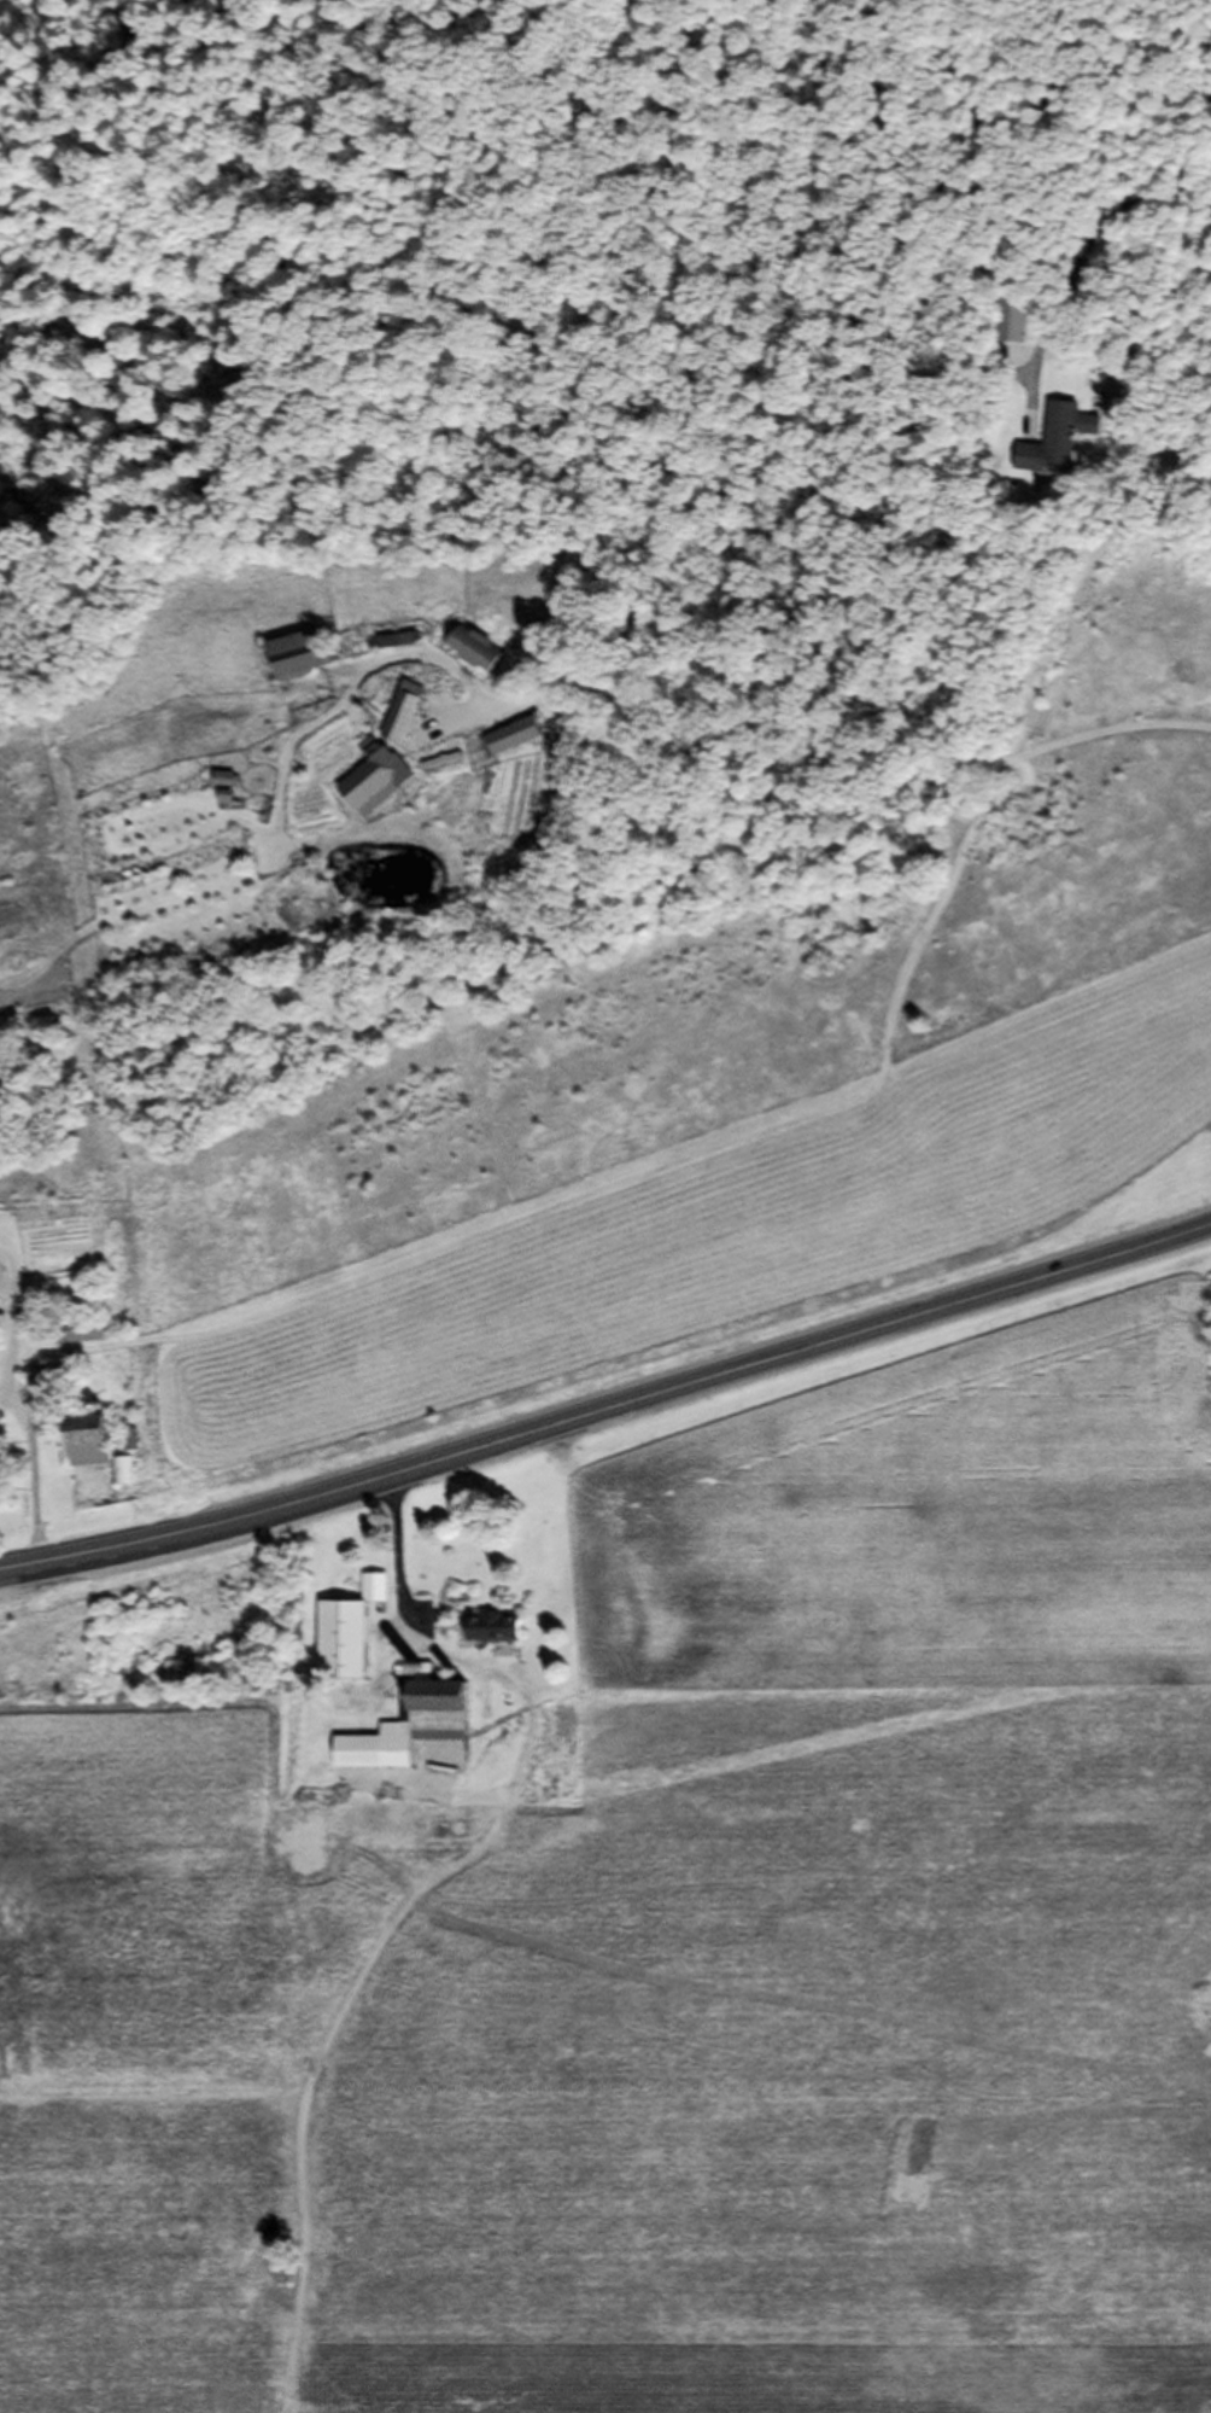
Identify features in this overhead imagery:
building: (1058, 441)
building: (298, 663)
building: (474, 663)
building: (402, 724)
road: (815, 732)
building: (510, 744)
building: (375, 788)
building: (69, 1339)
building: (47, 1383)
road: (608, 1409)
road: (8, 1410)
building: (83, 1451)
road: (394, 1604)
building: (493, 1634)
building: (341, 1648)
building: (409, 1735)

